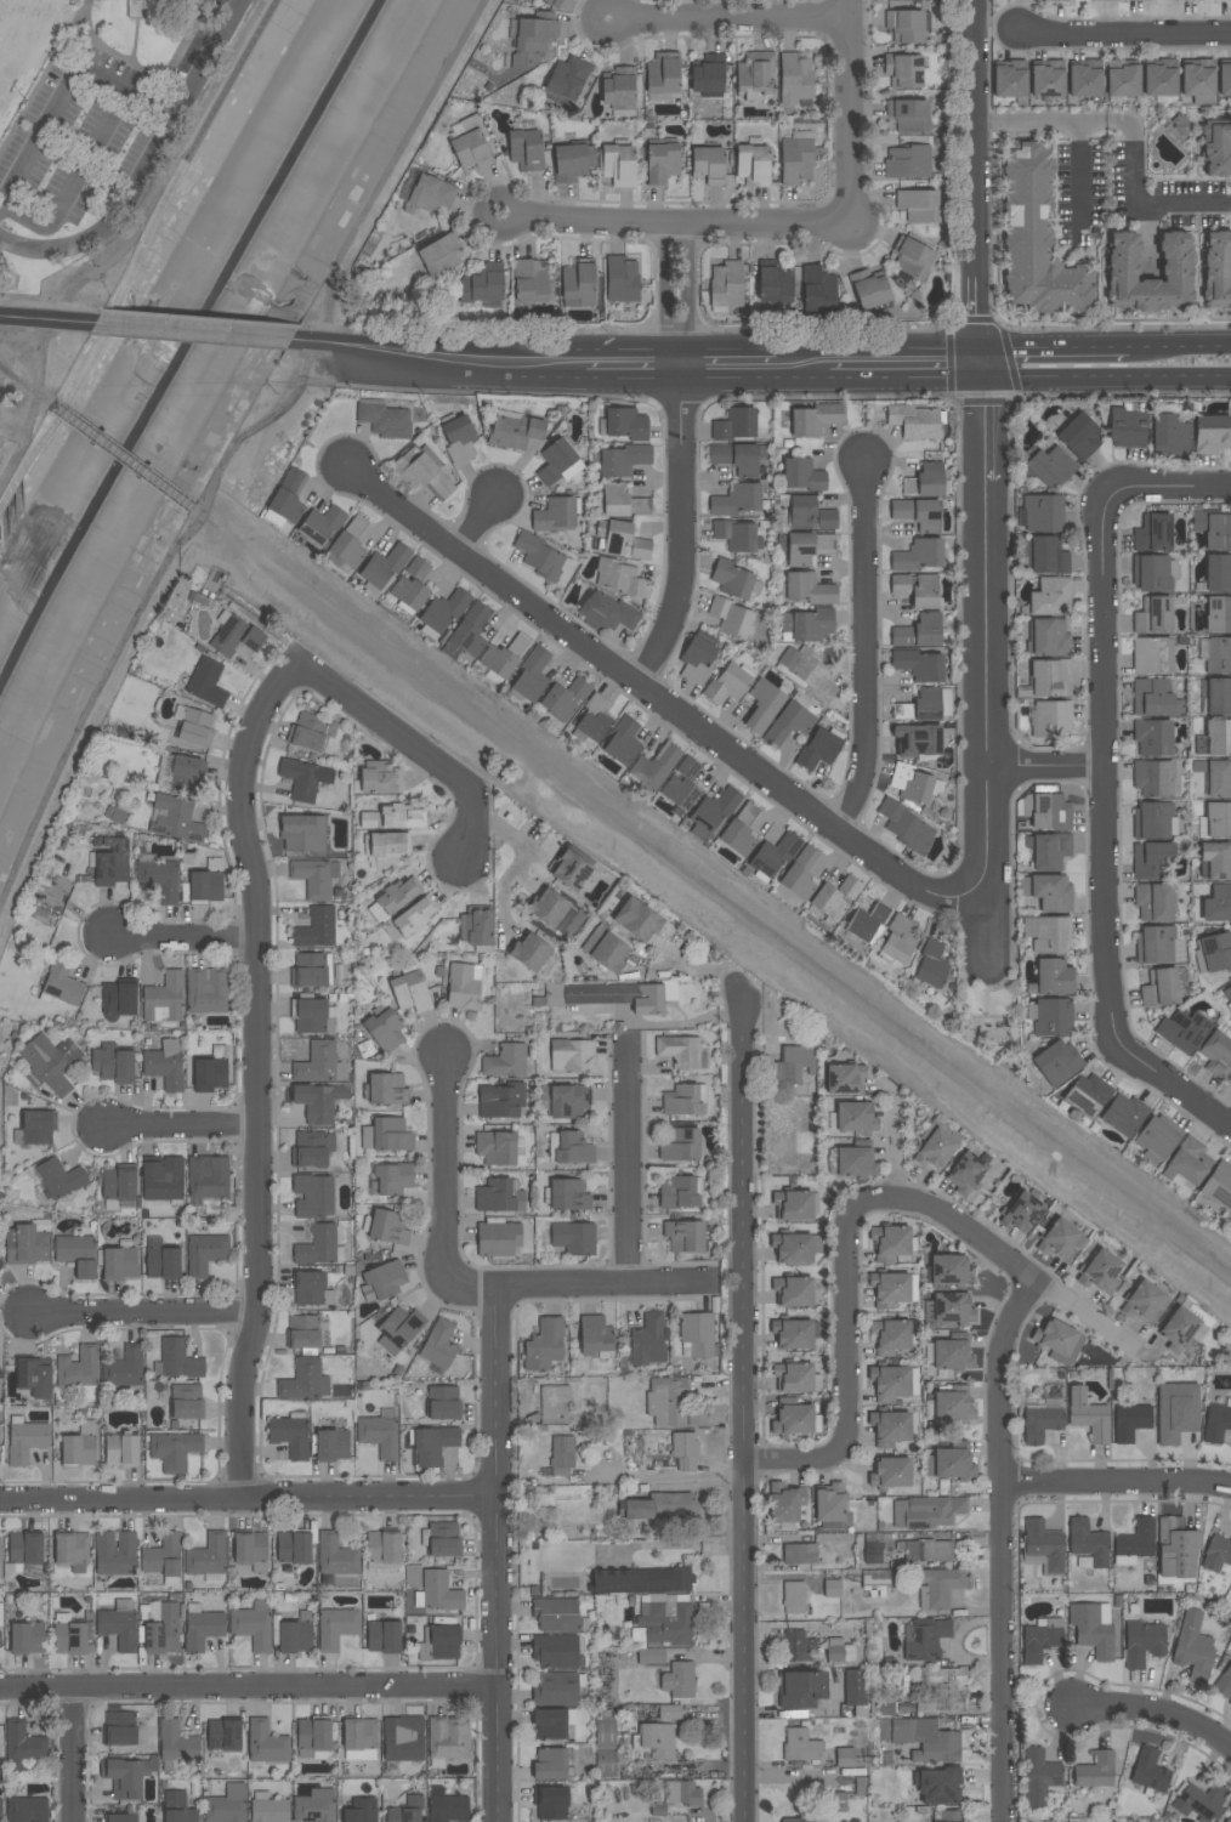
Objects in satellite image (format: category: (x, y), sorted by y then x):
building: (1044, 0)
building: (1106, 0)
building: (1139, 0)
building: (1182, 0)
building: (1221, 0)
building: (554, 2)
building: (136, 8)
road: (83, 17)
road: (727, 19)
building: (908, 25)
road: (1127, 33)
building: (535, 34)
parking lot: (195, 40)
road: (132, 41)
road: (85, 51)
building: (904, 70)
road: (161, 73)
building: (664, 73)
building: (709, 75)
building: (755, 75)
building: (568, 78)
building: (795, 78)
building: (1159, 78)
building: (1224, 78)
building: (1046, 79)
building: (1122, 79)
building: (1010, 80)
building: (1084, 81)
building: (1197, 81)
road: (39, 84)
building: (619, 87)
road: (68, 92)
road: (849, 113)
building: (908, 114)
park: (93, 117)
building: (1180, 124)
road: (1134, 136)
parking lot: (72, 140)
building: (472, 144)
building: (1216, 148)
building: (526, 149)
building: (799, 157)
building: (574, 160)
building: (662, 161)
building: (753, 161)
building: (909, 161)
building: (619, 164)
road: (148, 165)
building: (709, 165)
road: (1076, 178)
road: (978, 181)
road: (74, 183)
building: (431, 193)
building: (919, 204)
road: (674, 222)
building: (1036, 239)
road: (130, 240)
road: (1, 245)
building: (439, 254)
road: (137, 255)
building: (1121, 256)
building: (913, 257)
building: (1216, 269)
road: (16, 280)
building: (773, 282)
building: (579, 283)
building: (623, 283)
building: (528, 284)
building: (727, 284)
building: (483, 285)
building: (818, 290)
building: (870, 291)
road: (675, 295)
road: (46, 320)
road: (191, 334)
road: (306, 342)
road: (1054, 346)
road: (1180, 346)
road: (420, 354)
traffic signals: (982, 363)
road: (906, 364)
road: (802, 365)
road: (726, 367)
road: (552, 368)
road: (631, 368)
road: (1104, 380)
railway: (44, 401)
road: (34, 407)
building: (815, 419)
building: (384, 420)
building: (914, 421)
building: (625, 424)
building: (734, 425)
building: (1125, 428)
building: (515, 430)
building: (1212, 433)
building: (1169, 436)
building: (1079, 437)
building: (458, 438)
railway: (119, 454)
building: (734, 458)
building: (623, 459)
building: (557, 462)
building: (1050, 466)
building: (422, 475)
building: (801, 475)
building: (294, 478)
building: (925, 481)
road: (1155, 494)
building: (737, 500)
building: (622, 501)
building: (284, 506)
building: (809, 513)
building: (918, 513)
building: (1040, 513)
building: (555, 515)
road: (477, 524)
building: (319, 526)
building: (1213, 530)
road: (676, 532)
building: (1152, 533)
building: (737, 535)
building: (622, 540)
building: (824, 541)
building: (348, 543)
building: (799, 549)
building: (918, 555)
building: (1048, 556)
building: (541, 557)
building: (384, 566)
building: (1218, 572)
building: (1153, 573)
building: (619, 578)
building: (734, 580)
building: (900, 584)
building: (412, 585)
building: (807, 589)
building: (925, 592)
building: (1050, 597)
road: (146, 606)
building: (443, 611)
building: (607, 612)
building: (1218, 614)
building: (1153, 615)
building: (731, 618)
building: (806, 625)
building: (918, 631)
building: (467, 632)
building: (234, 635)
building: (1048, 637)
road: (864, 648)
building: (1152, 655)
building: (1218, 655)
building: (503, 658)
building: (697, 659)
building: (919, 665)
road: (989, 665)
building: (806, 671)
building: (531, 676)
building: (1050, 677)
building: (206, 682)
building: (727, 683)
building: (1216, 696)
building: (565, 698)
building: (1155, 698)
road: (658, 704)
building: (762, 705)
building: (919, 705)
building: (1051, 717)
building: (594, 719)
building: (788, 723)
building: (194, 730)
building: (307, 731)
building: (1152, 738)
building: (1214, 738)
building: (917, 739)
building: (622, 742)
road: (413, 749)
building: (817, 749)
building: (654, 766)
road: (1045, 771)
building: (185, 773)
building: (1152, 777)
building: (1215, 777)
building: (305, 778)
building: (379, 779)
building: (682, 784)
building: (912, 784)
road: (1100, 785)
building: (711, 810)
building: (1044, 811)
building: (402, 816)
building: (175, 818)
building: (369, 819)
building: (1153, 819)
building: (1215, 821)
building: (906, 827)
building: (302, 834)
building: (737, 838)
building: (385, 850)
building: (1048, 850)
building: (773, 855)
road: (515, 856)
building: (1216, 859)
building: (1151, 861)
building: (110, 862)
building: (569, 870)
building: (799, 874)
building: (314, 876)
building: (158, 879)
building: (205, 886)
building: (1051, 891)
building: (393, 898)
building: (834, 898)
building: (1153, 902)
building: (1218, 904)
building: (551, 910)
building: (412, 918)
building: (636, 919)
building: (475, 927)
building: (318, 929)
building: (1051, 935)
road: (182, 938)
building: (898, 940)
building: (1155, 943)
building: (607, 948)
building: (529, 952)
building: (1213, 953)
building: (930, 965)
building: (311, 970)
building: (1051, 978)
building: (61, 984)
building: (464, 986)
building: (1159, 988)
building: (206, 991)
building: (409, 992)
building: (1227, 992)
building: (609, 995)
building: (118, 999)
building: (163, 999)
building: (308, 1015)
building: (1050, 1017)
park: (994, 1023)
building: (385, 1031)
building: (1181, 1031)
road: (1005, 1037)
building: (679, 1051)
building: (573, 1054)
building: (1216, 1054)
building: (505, 1061)
building: (1056, 1062)
building: (47, 1063)
building: (112, 1063)
building: (319, 1063)
building: (793, 1063)
building: (164, 1065)
building: (210, 1071)
road: (254, 1073)
building: (843, 1079)
building: (1229, 1083)
road: (1172, 1085)
building: (386, 1089)
building: (318, 1101)
building: (500, 1101)
building: (568, 1101)
building: (681, 1101)
building: (1123, 1114)
building: (855, 1118)
building: (36, 1126)
road: (178, 1128)
building: (386, 1135)
building: (1155, 1140)
building: (680, 1145)
building: (495, 1147)
building: (934, 1147)
building: (311, 1148)
building: (573, 1148)
road: (891, 1151)
building: (1189, 1160)
building: (855, 1162)
road: (623, 1164)
building: (965, 1173)
building: (208, 1176)
building: (58, 1177)
building: (392, 1177)
building: (161, 1180)
building: (117, 1184)
building: (1218, 1185)
building: (677, 1193)
building: (568, 1194)
building: (312, 1196)
building: (498, 1197)
building: (793, 1205)
building: (1021, 1213)
building: (1230, 1215)
building: (385, 1227)
building: (683, 1236)
building: (497, 1237)
building: (573, 1238)
building: (1061, 1242)
building: (28, 1243)
building: (890, 1243)
building: (318, 1247)
building: (792, 1248)
building: (76, 1254)
building: (204, 1254)
building: (160, 1260)
building: (0, 1262)
building: (119, 1264)
road: (1011, 1265)
building: (949, 1271)
building: (1100, 1272)
building: (381, 1281)
road: (605, 1282)
building: (310, 1289)
building: (889, 1289)
building: (792, 1290)
building: (1145, 1304)
building: (948, 1310)
road: (141, 1316)
road: (847, 1324)
building: (398, 1328)
building: (1178, 1329)
building: (302, 1332)
building: (697, 1333)
building: (792, 1334)
building: (594, 1335)
building: (889, 1336)
building: (648, 1340)
building: (1057, 1341)
building: (438, 1344)
building: (543, 1344)
building: (952, 1355)
building: (178, 1360)
building: (123, 1368)
building: (79, 1372)
building: (33, 1377)
building: (793, 1378)
building: (304, 1380)
building: (889, 1383)
building: (186, 1401)
building: (443, 1402)
building: (673, 1403)
building: (554, 1404)
building: (952, 1406)
road: (743, 1409)
building: (1175, 1411)
building: (1088, 1415)
road: (490, 1417)
building: (792, 1420)
building: (1130, 1421)
building: (1216, 1421)
building: (1039, 1424)
building: (890, 1427)
building: (379, 1432)
building: (289, 1435)
building: (25, 1441)
building: (331, 1444)
building: (432, 1444)
building: (79, 1446)
building: (121, 1449)
building: (174, 1449)
building: (683, 1451)
building: (561, 1455)
road: (777, 1461)
building: (948, 1464)
building: (890, 1472)
road: (1118, 1481)
road: (245, 1498)
building: (784, 1503)
building: (829, 1503)
building: (673, 1504)
building: (635, 1509)
building: (926, 1512)
building: (443, 1538)
building: (1088, 1542)
building: (1134, 1542)
building: (1042, 1545)
building: (293, 1546)
building: (382, 1546)
road: (1004, 1546)
building: (1175, 1549)
building: (72, 1550)
building: (927, 1550)
building: (23, 1551)
building: (114, 1553)
building: (250, 1553)
building: (799, 1553)
building: (1216, 1554)
building: (335, 1555)
building: (163, 1556)
building: (206, 1556)
building: (875, 1577)
building: (641, 1579)
building: (938, 1588)
building: (832, 1589)
building: (438, 1591)
building: (793, 1597)
building: (556, 1613)
building: (1, 1614)
building: (665, 1618)
building: (118, 1624)
building: (253, 1625)
building: (200, 1628)
building: (335, 1628)
building: (1093, 1628)
building: (163, 1631)
building: (296, 1634)
building: (382, 1636)
building: (27, 1637)
building: (0, 1639)
building: (924, 1639)
building: (1040, 1639)
building: (1142, 1642)
building: (438, 1644)
building: (1192, 1646)
building: (555, 1651)
building: (840, 1653)
building: (649, 1656)
building: (677, 1680)
building: (1224, 1682)
road: (246, 1687)
building: (853, 1687)
building: (555, 1688)
building: (800, 1688)
building: (941, 1688)
building: (669, 1712)
road: (1152, 1713)
building: (551, 1724)
building: (119, 1729)
building: (223, 1735)
building: (312, 1737)
building: (359, 1738)
building: (403, 1738)
building: (448, 1738)
building: (921, 1738)
building: (654, 1741)
building: (176, 1742)
building: (266, 1743)
building: (799, 1744)
building: (605, 1747)
building: (24, 1748)
road: (78, 1755)
building: (844, 1756)
building: (549, 1764)
building: (1148, 1770)
building: (1095, 1771)
building: (125, 1776)
building: (1039, 1777)
building: (937, 1786)
building: (681, 1793)
building: (1198, 1801)
building: (550, 1803)
building: (226, 1805)
building: (314, 1806)
building: (446, 1806)
building: (177, 1807)
building: (267, 1807)
building: (0, 1809)
building: (27, 1810)
building: (361, 1810)
building: (405, 1810)
building: (948, 1816)
building: (119, 1817)
building: (1229, 1818)
building: (799, 1820)

